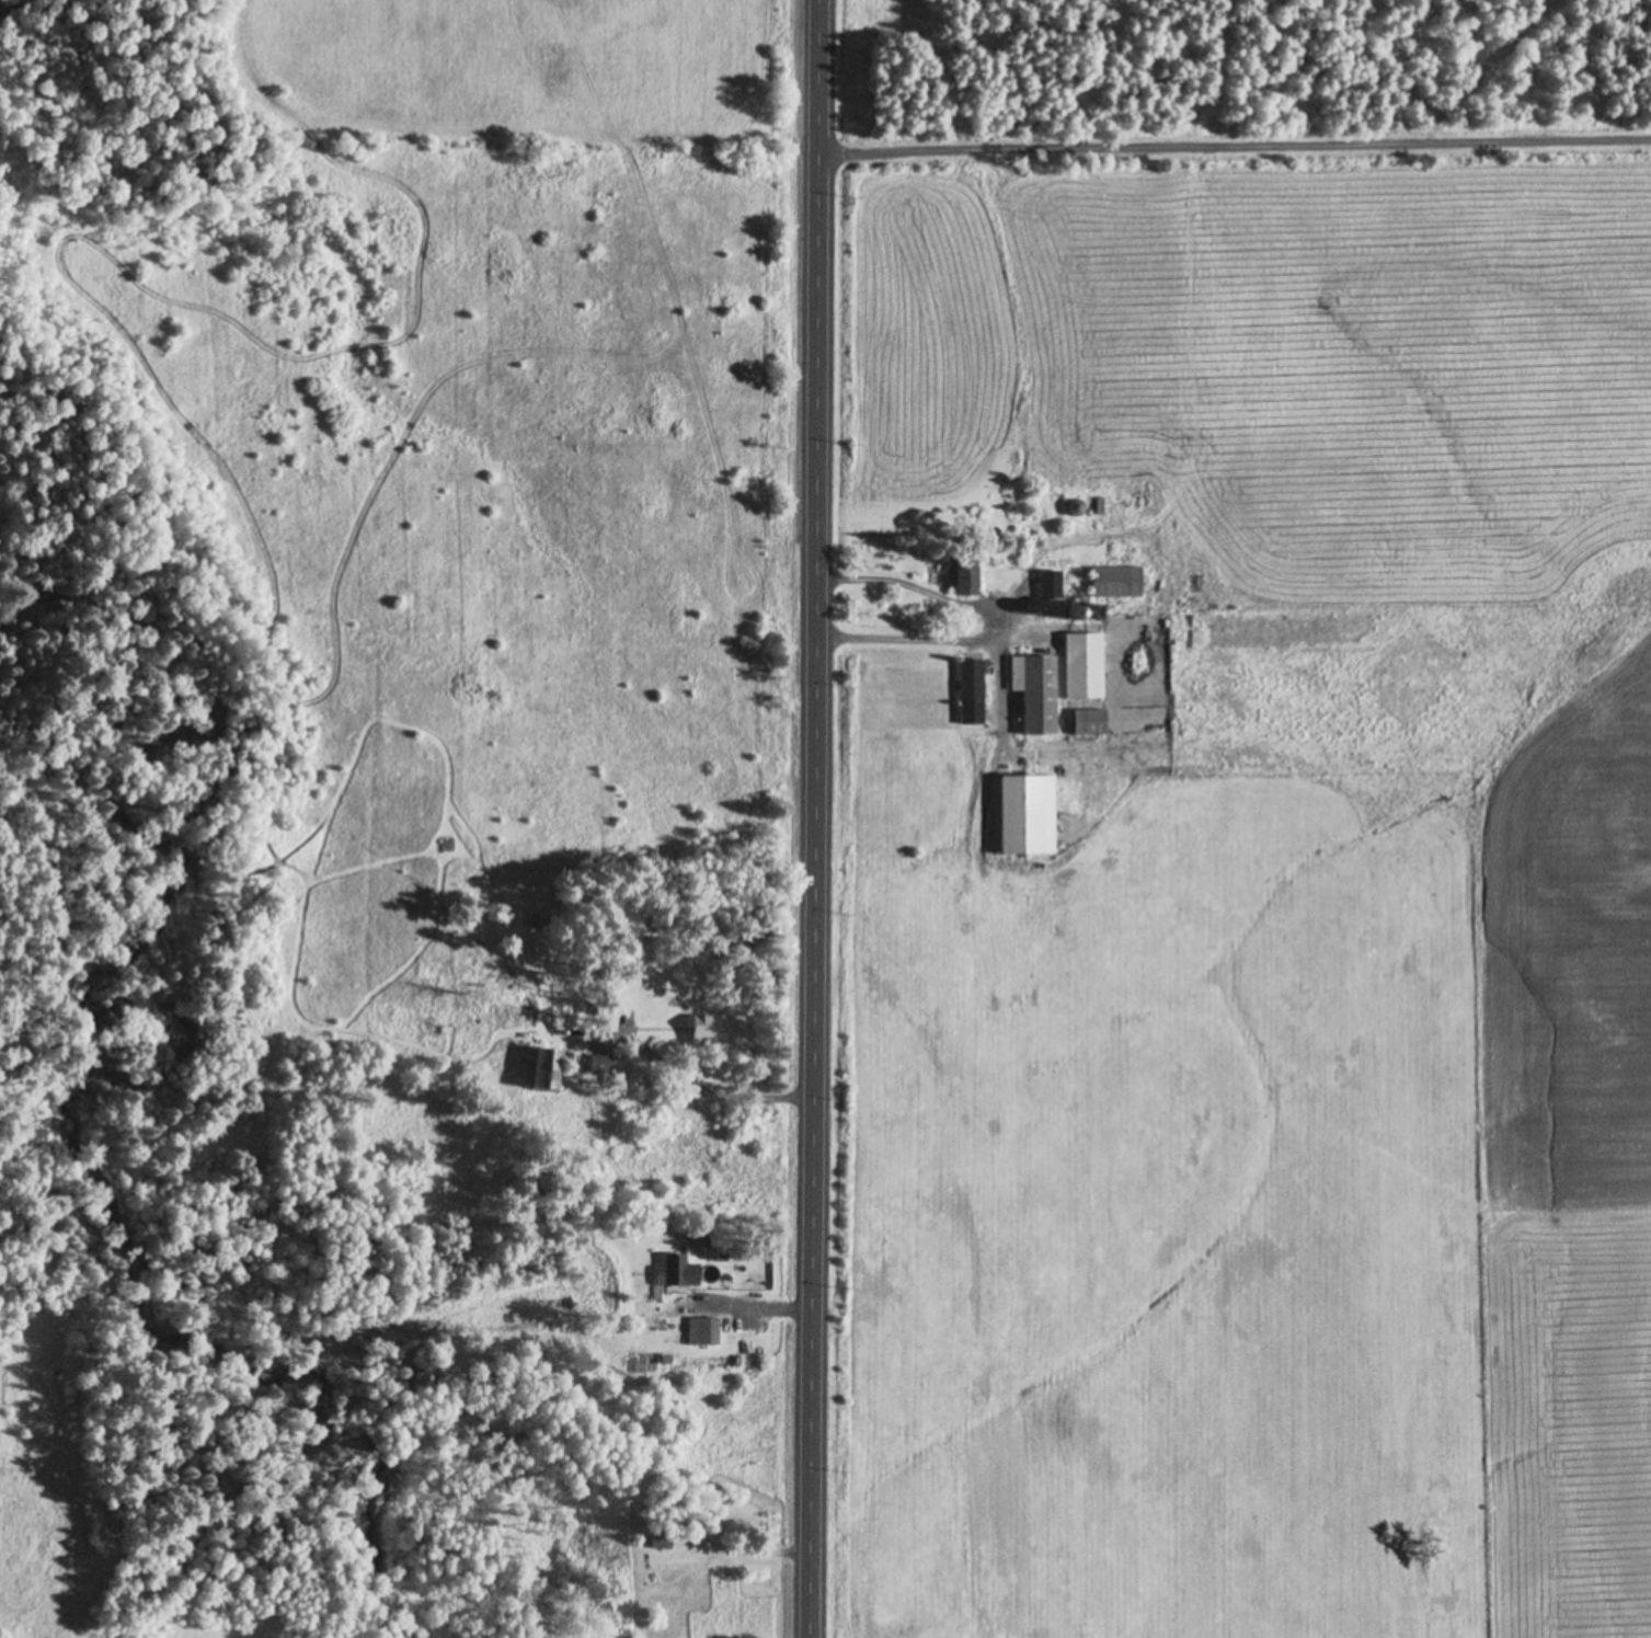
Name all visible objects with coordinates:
road: (1234, 149)
building: (1102, 504)
building: (1076, 506)
building: (963, 570)
building: (1116, 580)
building: (1050, 582)
building: (1081, 598)
building: (1094, 609)
building: (1074, 611)
road: (983, 626)
building: (1084, 662)
building: (1035, 688)
building: (971, 691)
building: (1089, 720)
building: (1028, 812)
road: (813, 818)
building: (447, 843)
crop: (1262, 918)
building: (703, 1030)
building: (601, 1061)
building: (549, 1066)
road: (761, 1097)
building: (674, 1270)
road: (755, 1308)
building: (706, 1330)
building: (662, 1544)

